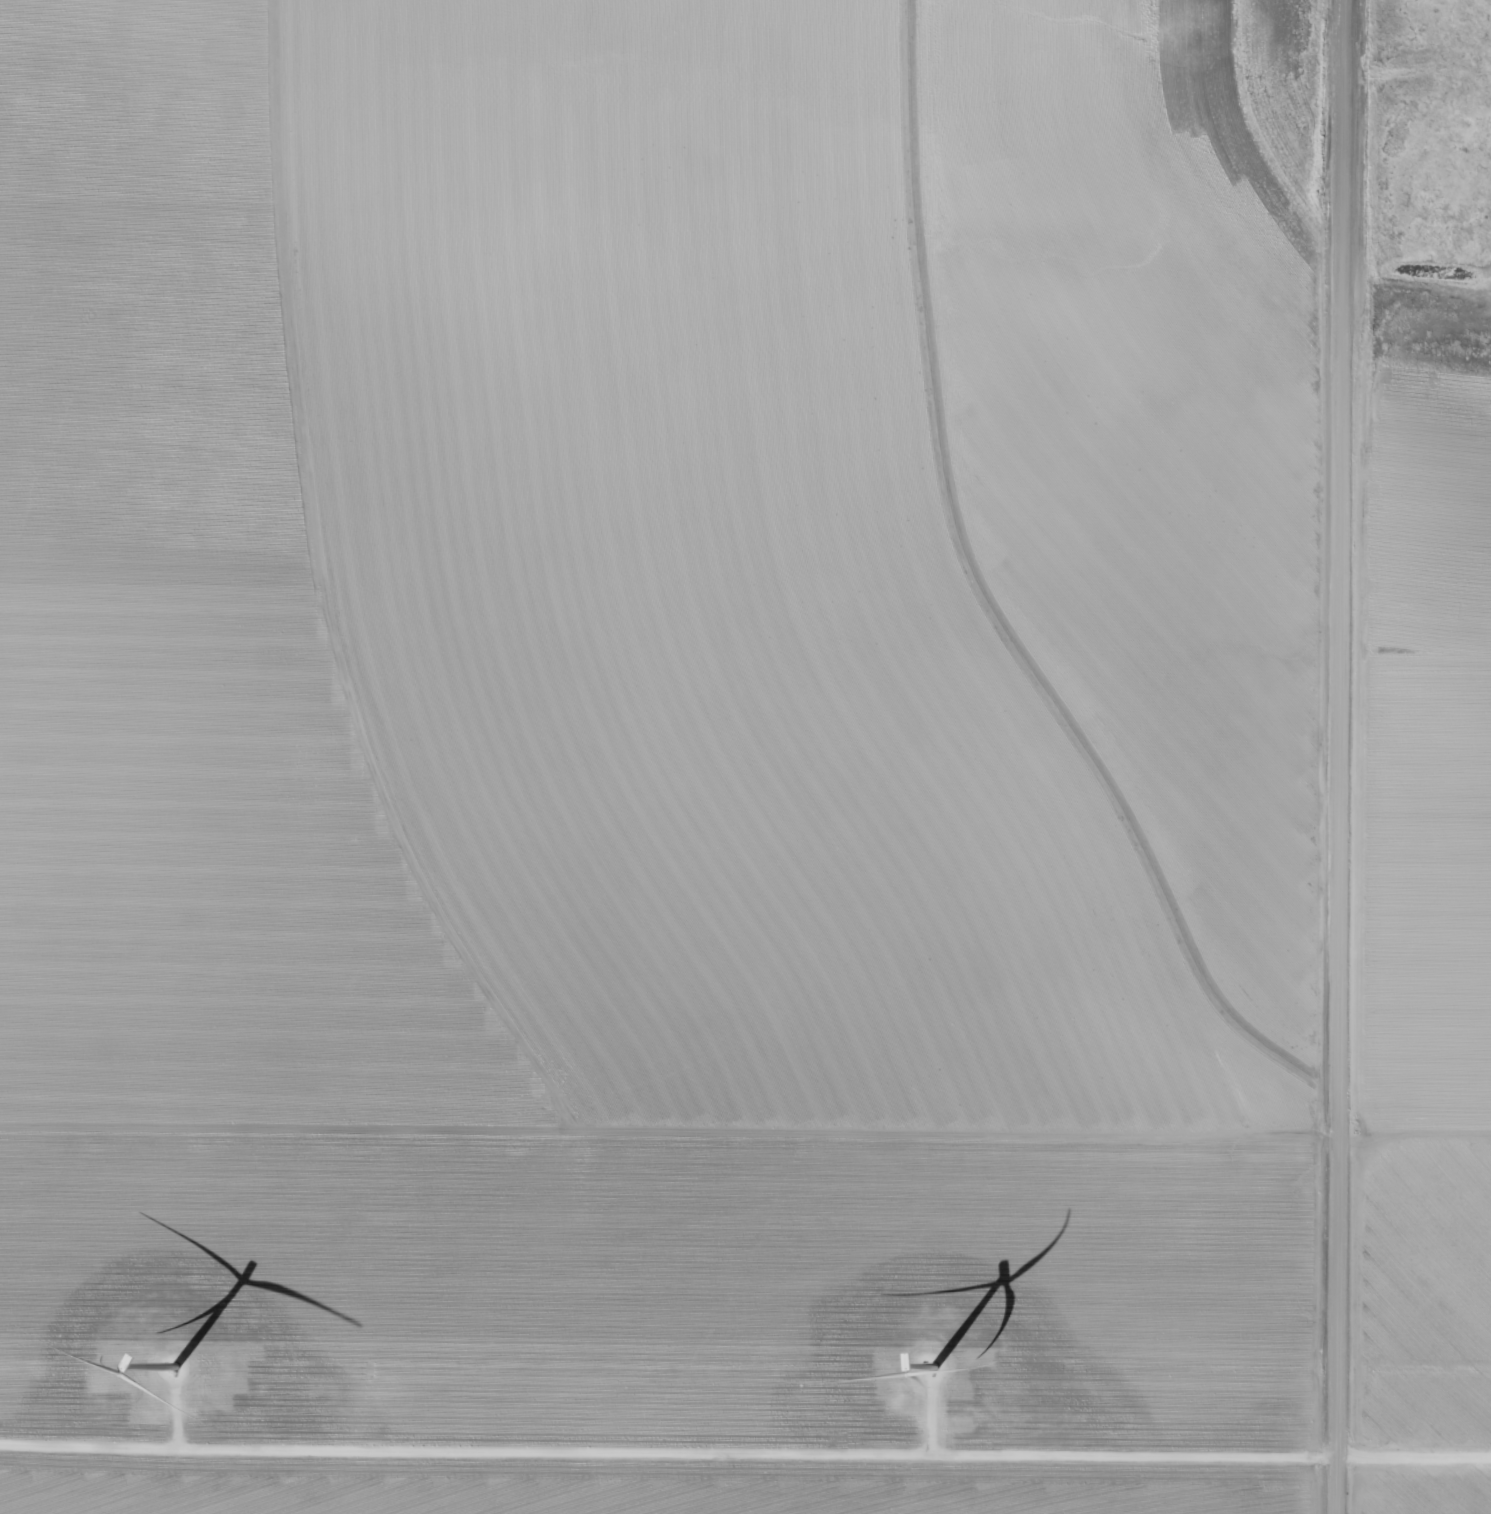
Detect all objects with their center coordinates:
road: (1344, 757)
wind turbine: (922, 1374)
wind turbine: (170, 1387)

